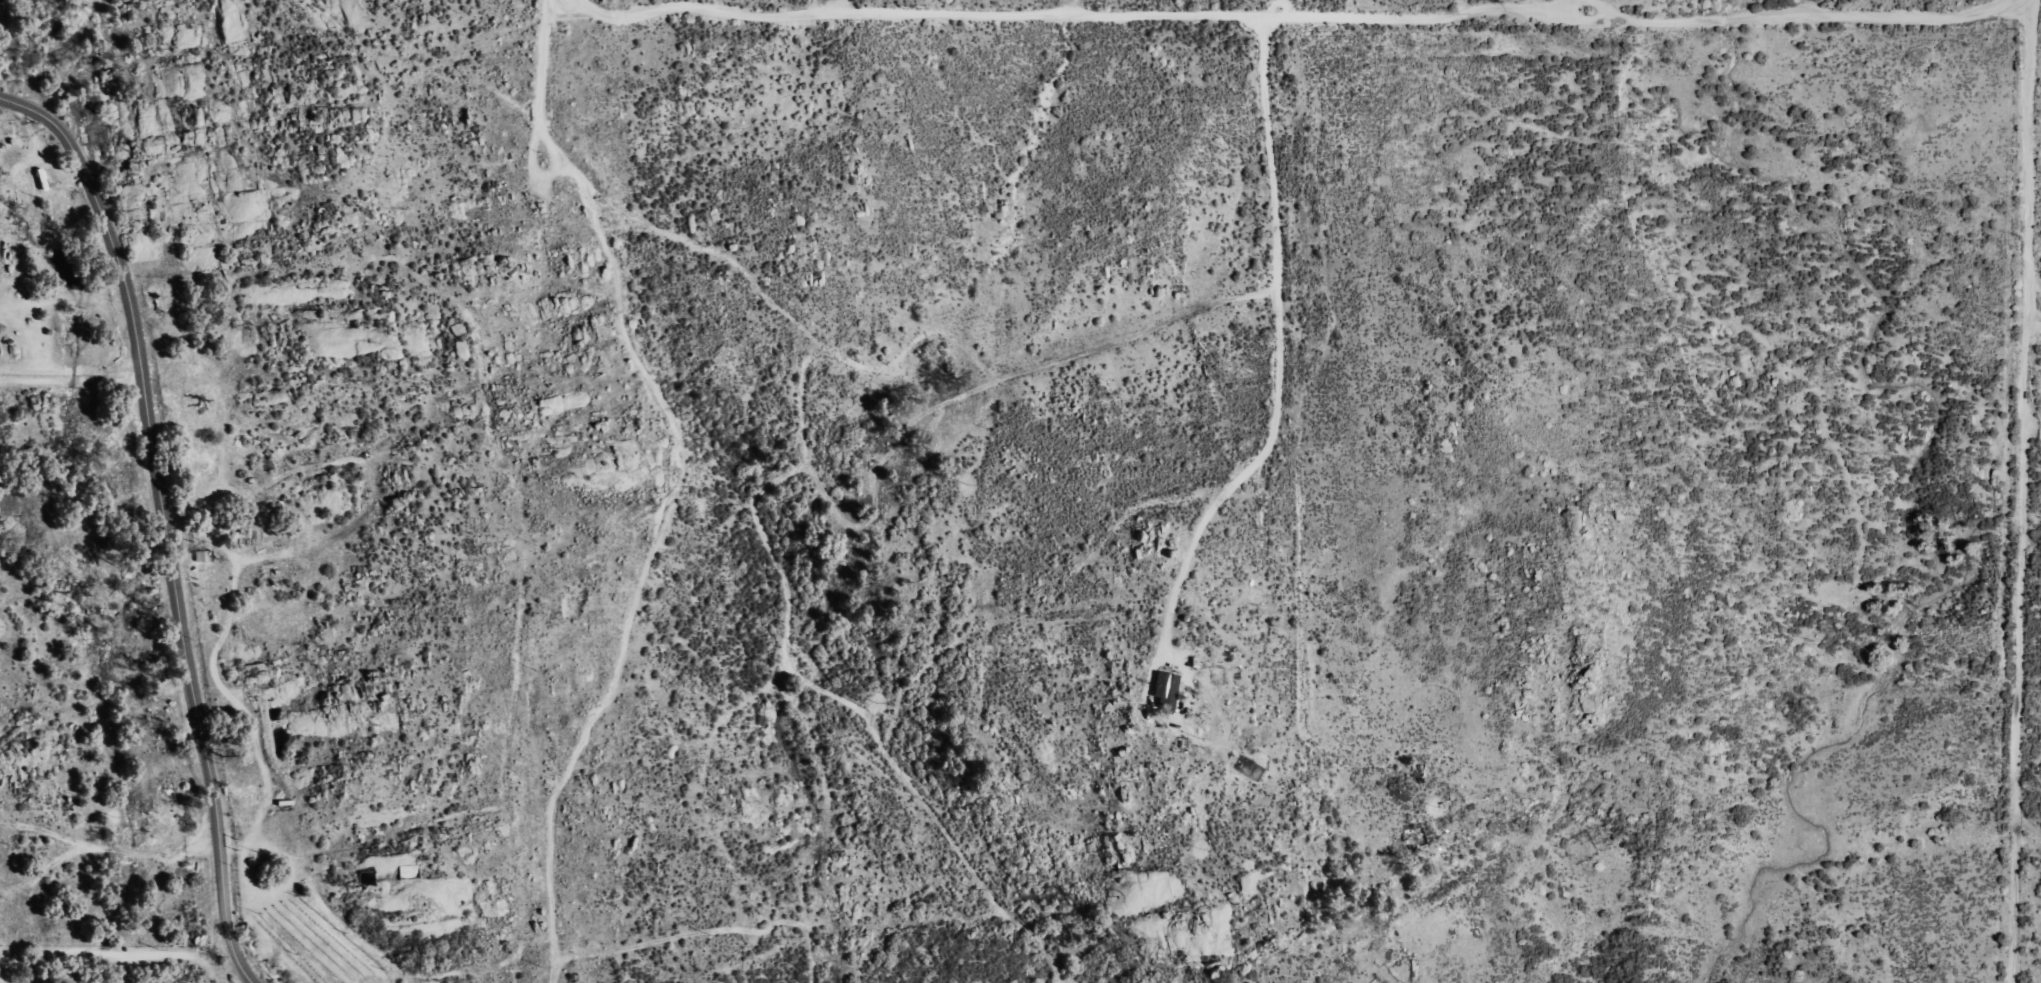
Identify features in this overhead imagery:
road: (164, 520)
building: (201, 556)
building: (1164, 691)
road: (82, 867)
road: (40, 923)

